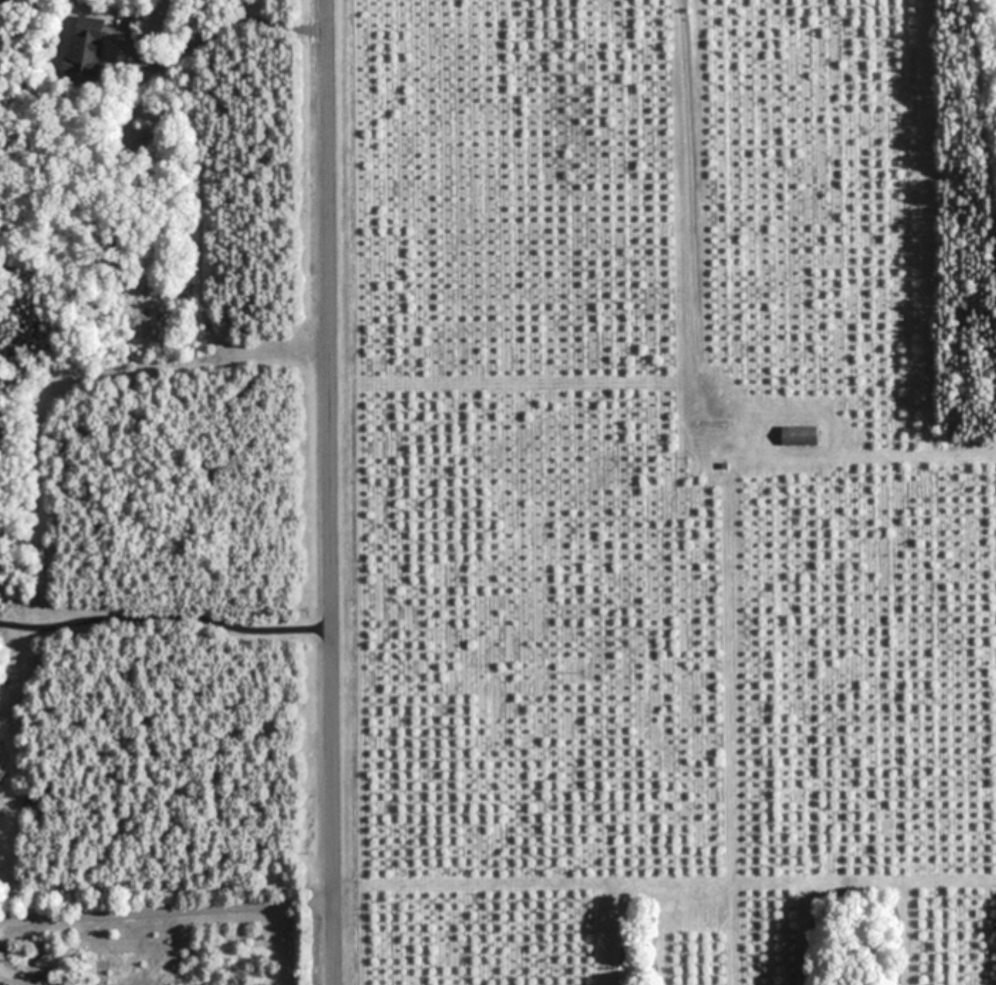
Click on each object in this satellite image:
road: (215, 33)
building: (86, 45)
building: (798, 435)
road: (329, 492)
road: (165, 619)
road: (167, 910)
building: (9, 982)

